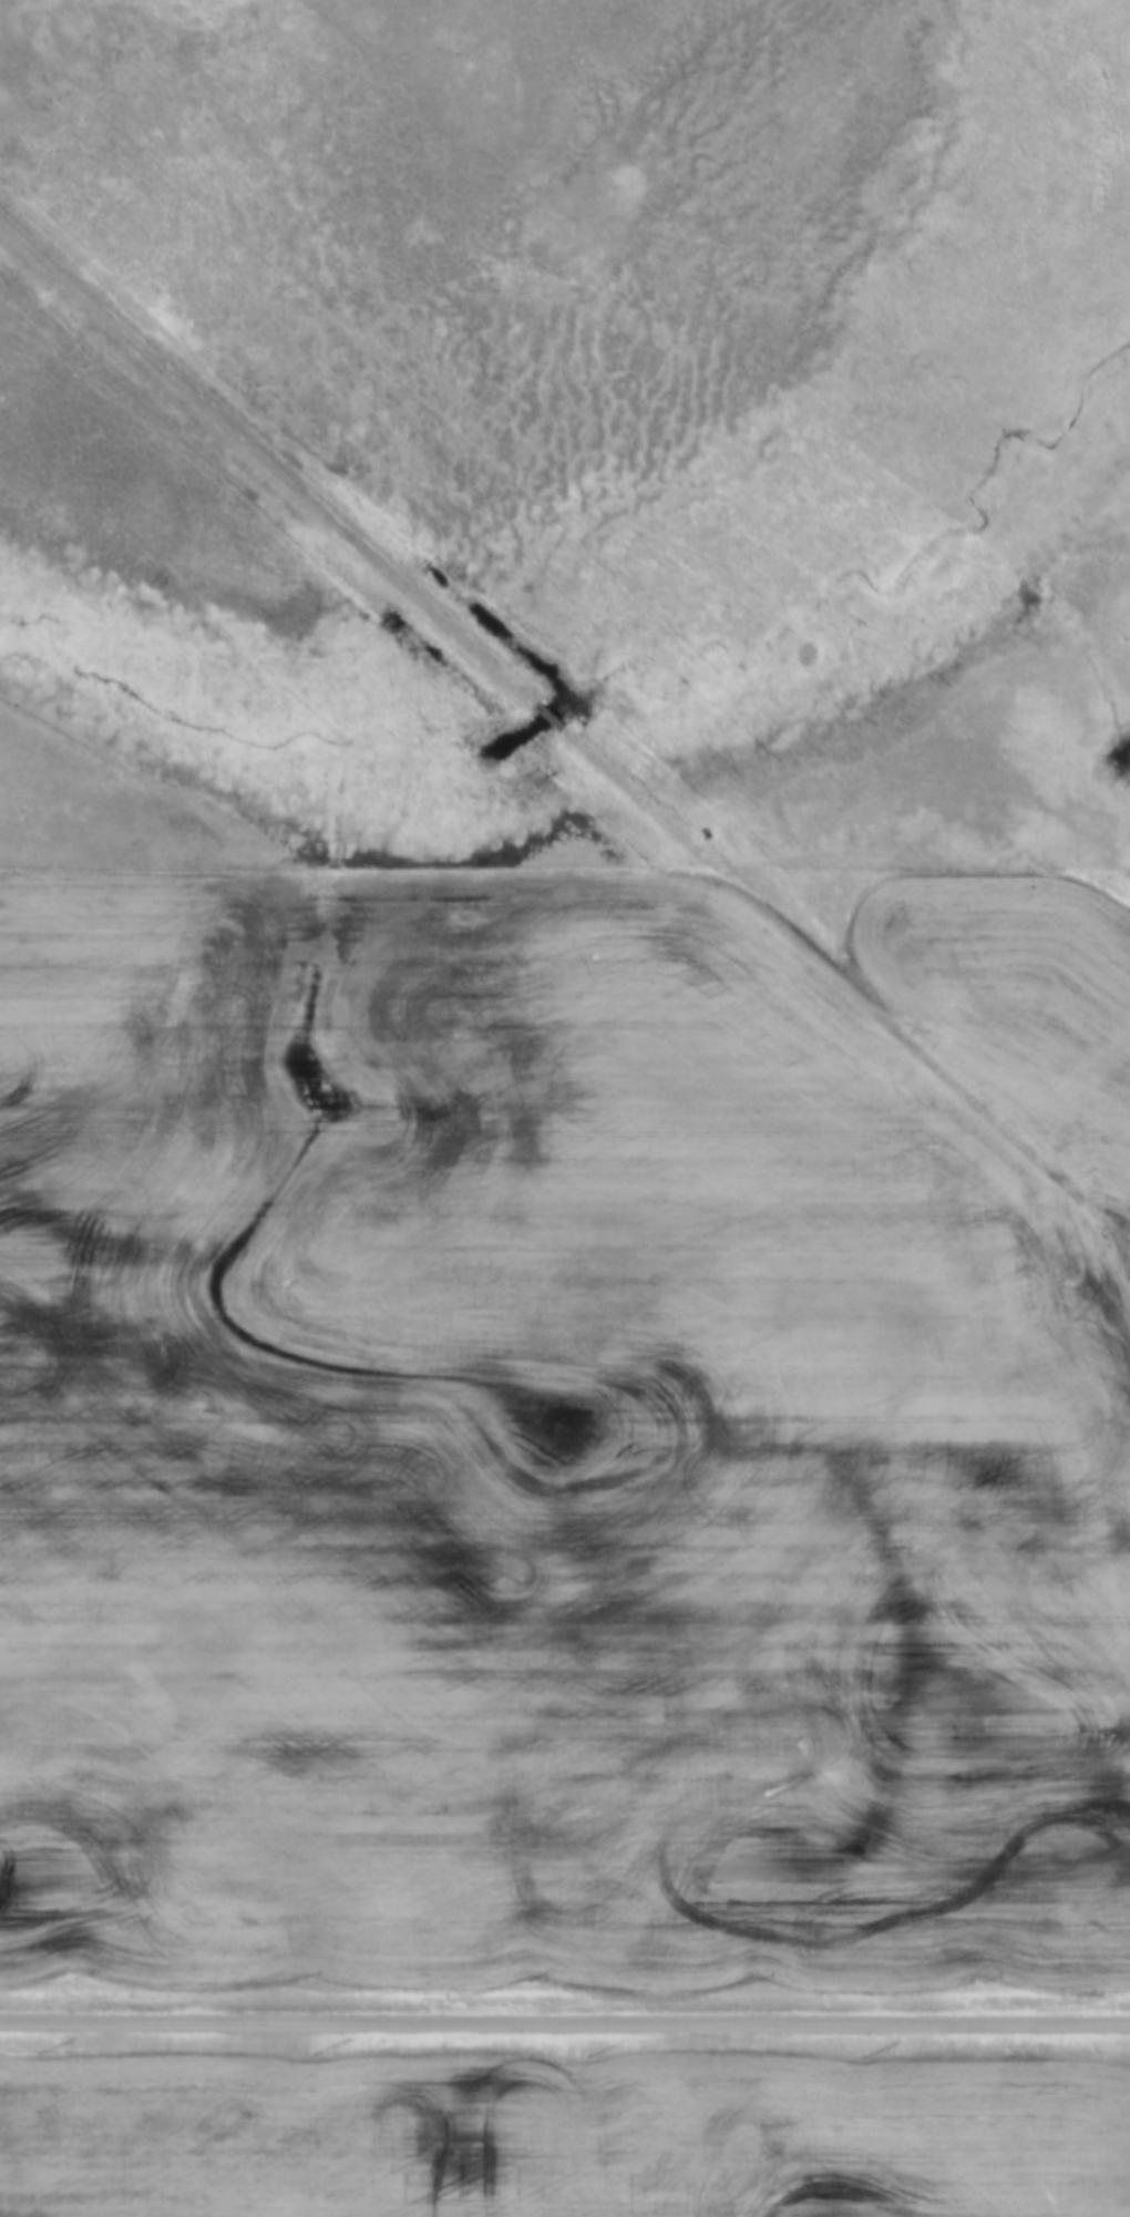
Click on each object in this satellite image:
road: (564, 2018)

